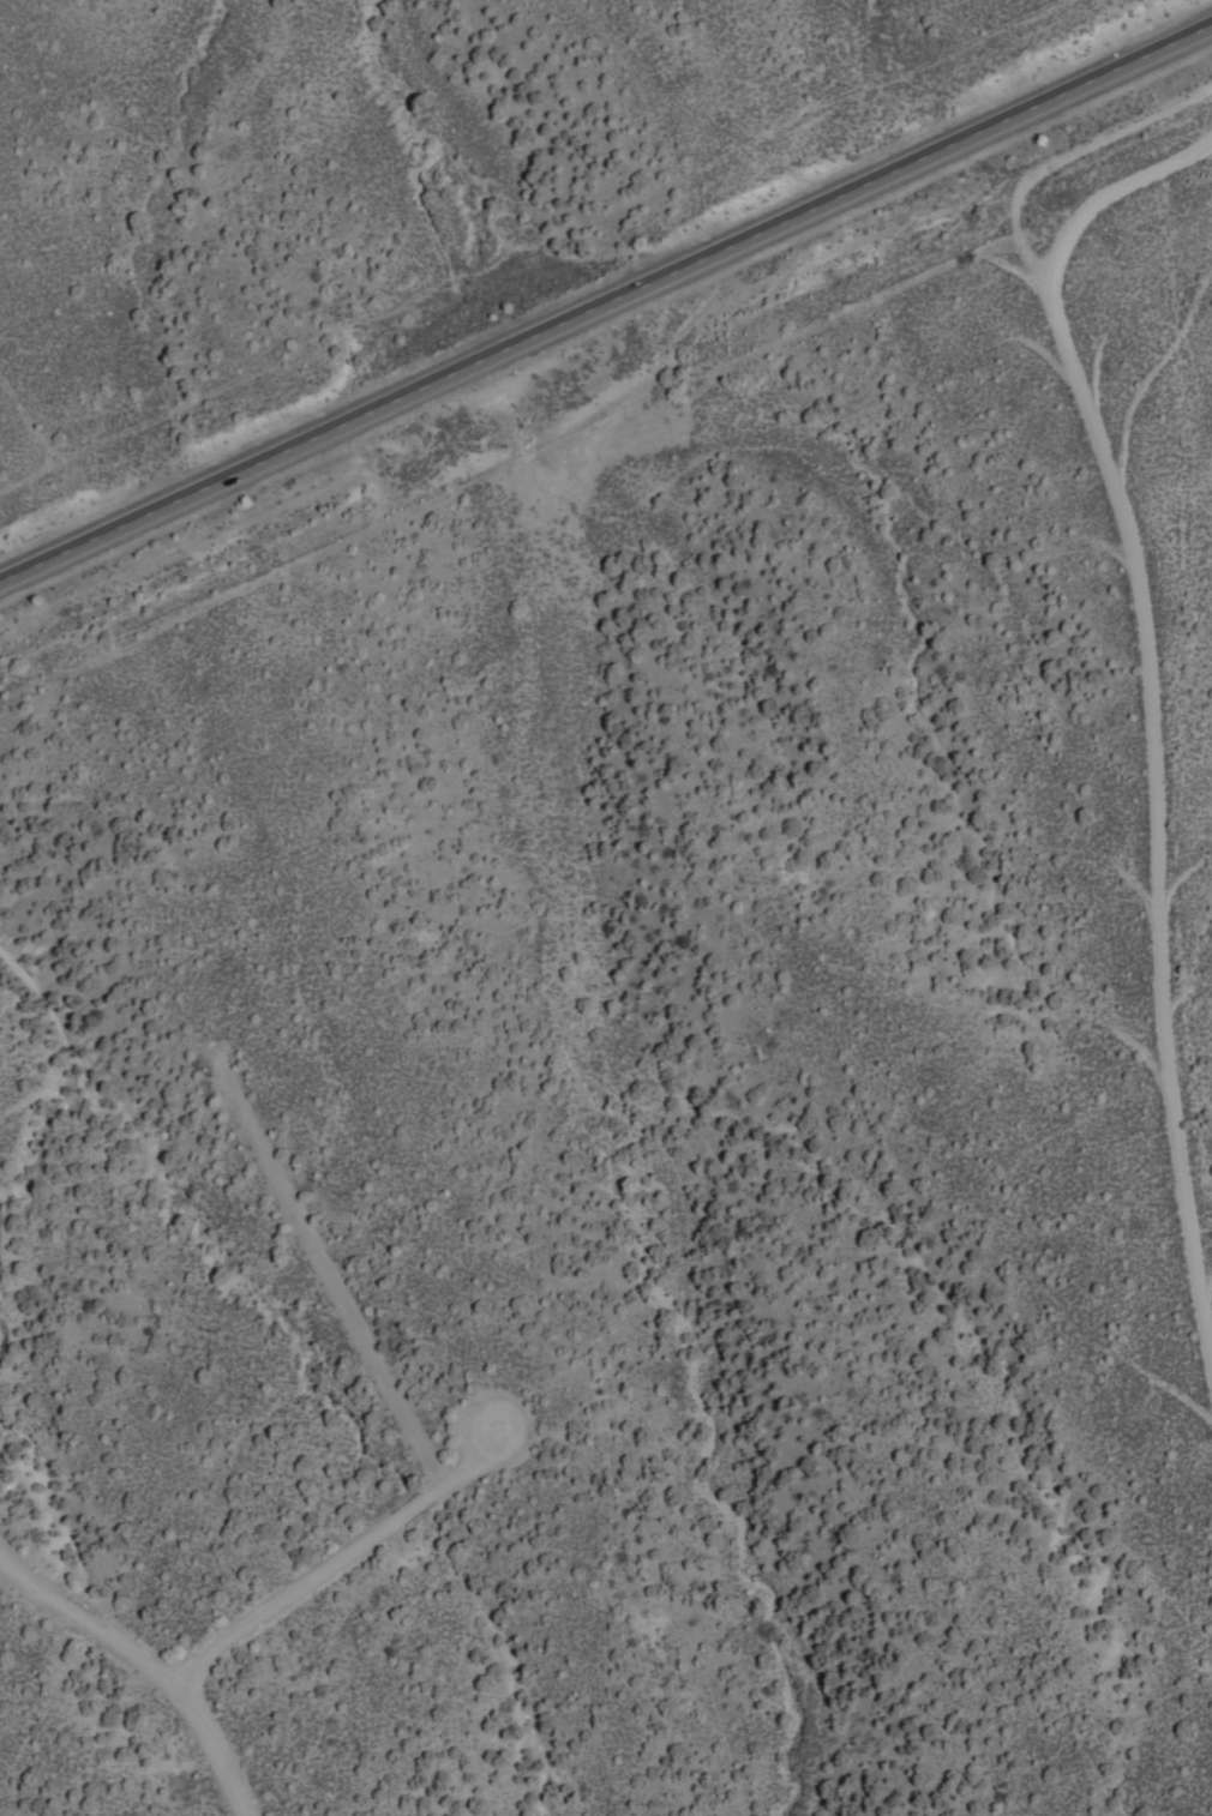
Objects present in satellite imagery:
road: (606, 300)
road: (1156, 690)
road: (335, 1275)
road: (342, 1555)
road: (149, 1660)

